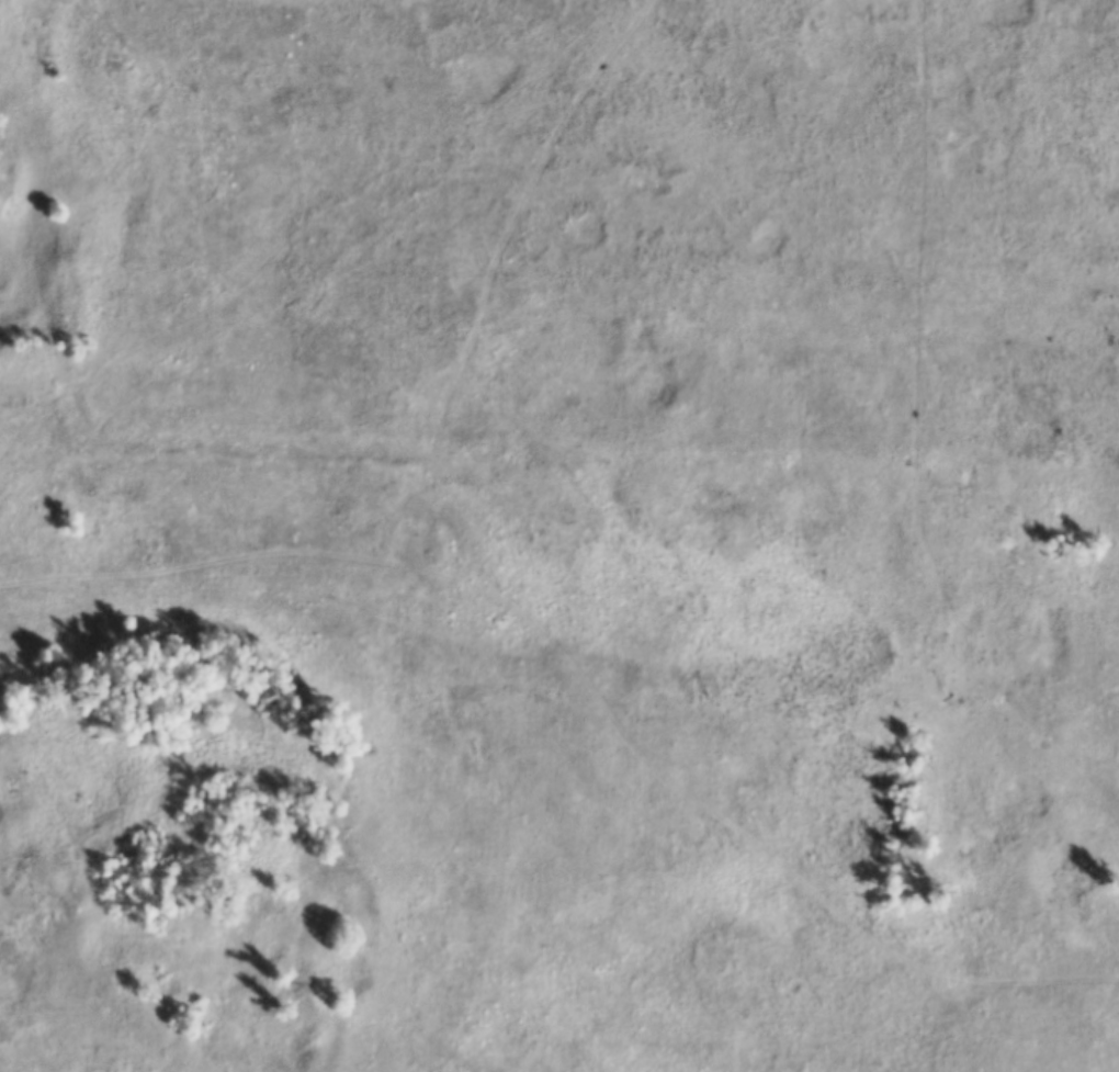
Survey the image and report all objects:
road: (512, 227)
road: (224, 567)
road: (719, 820)

